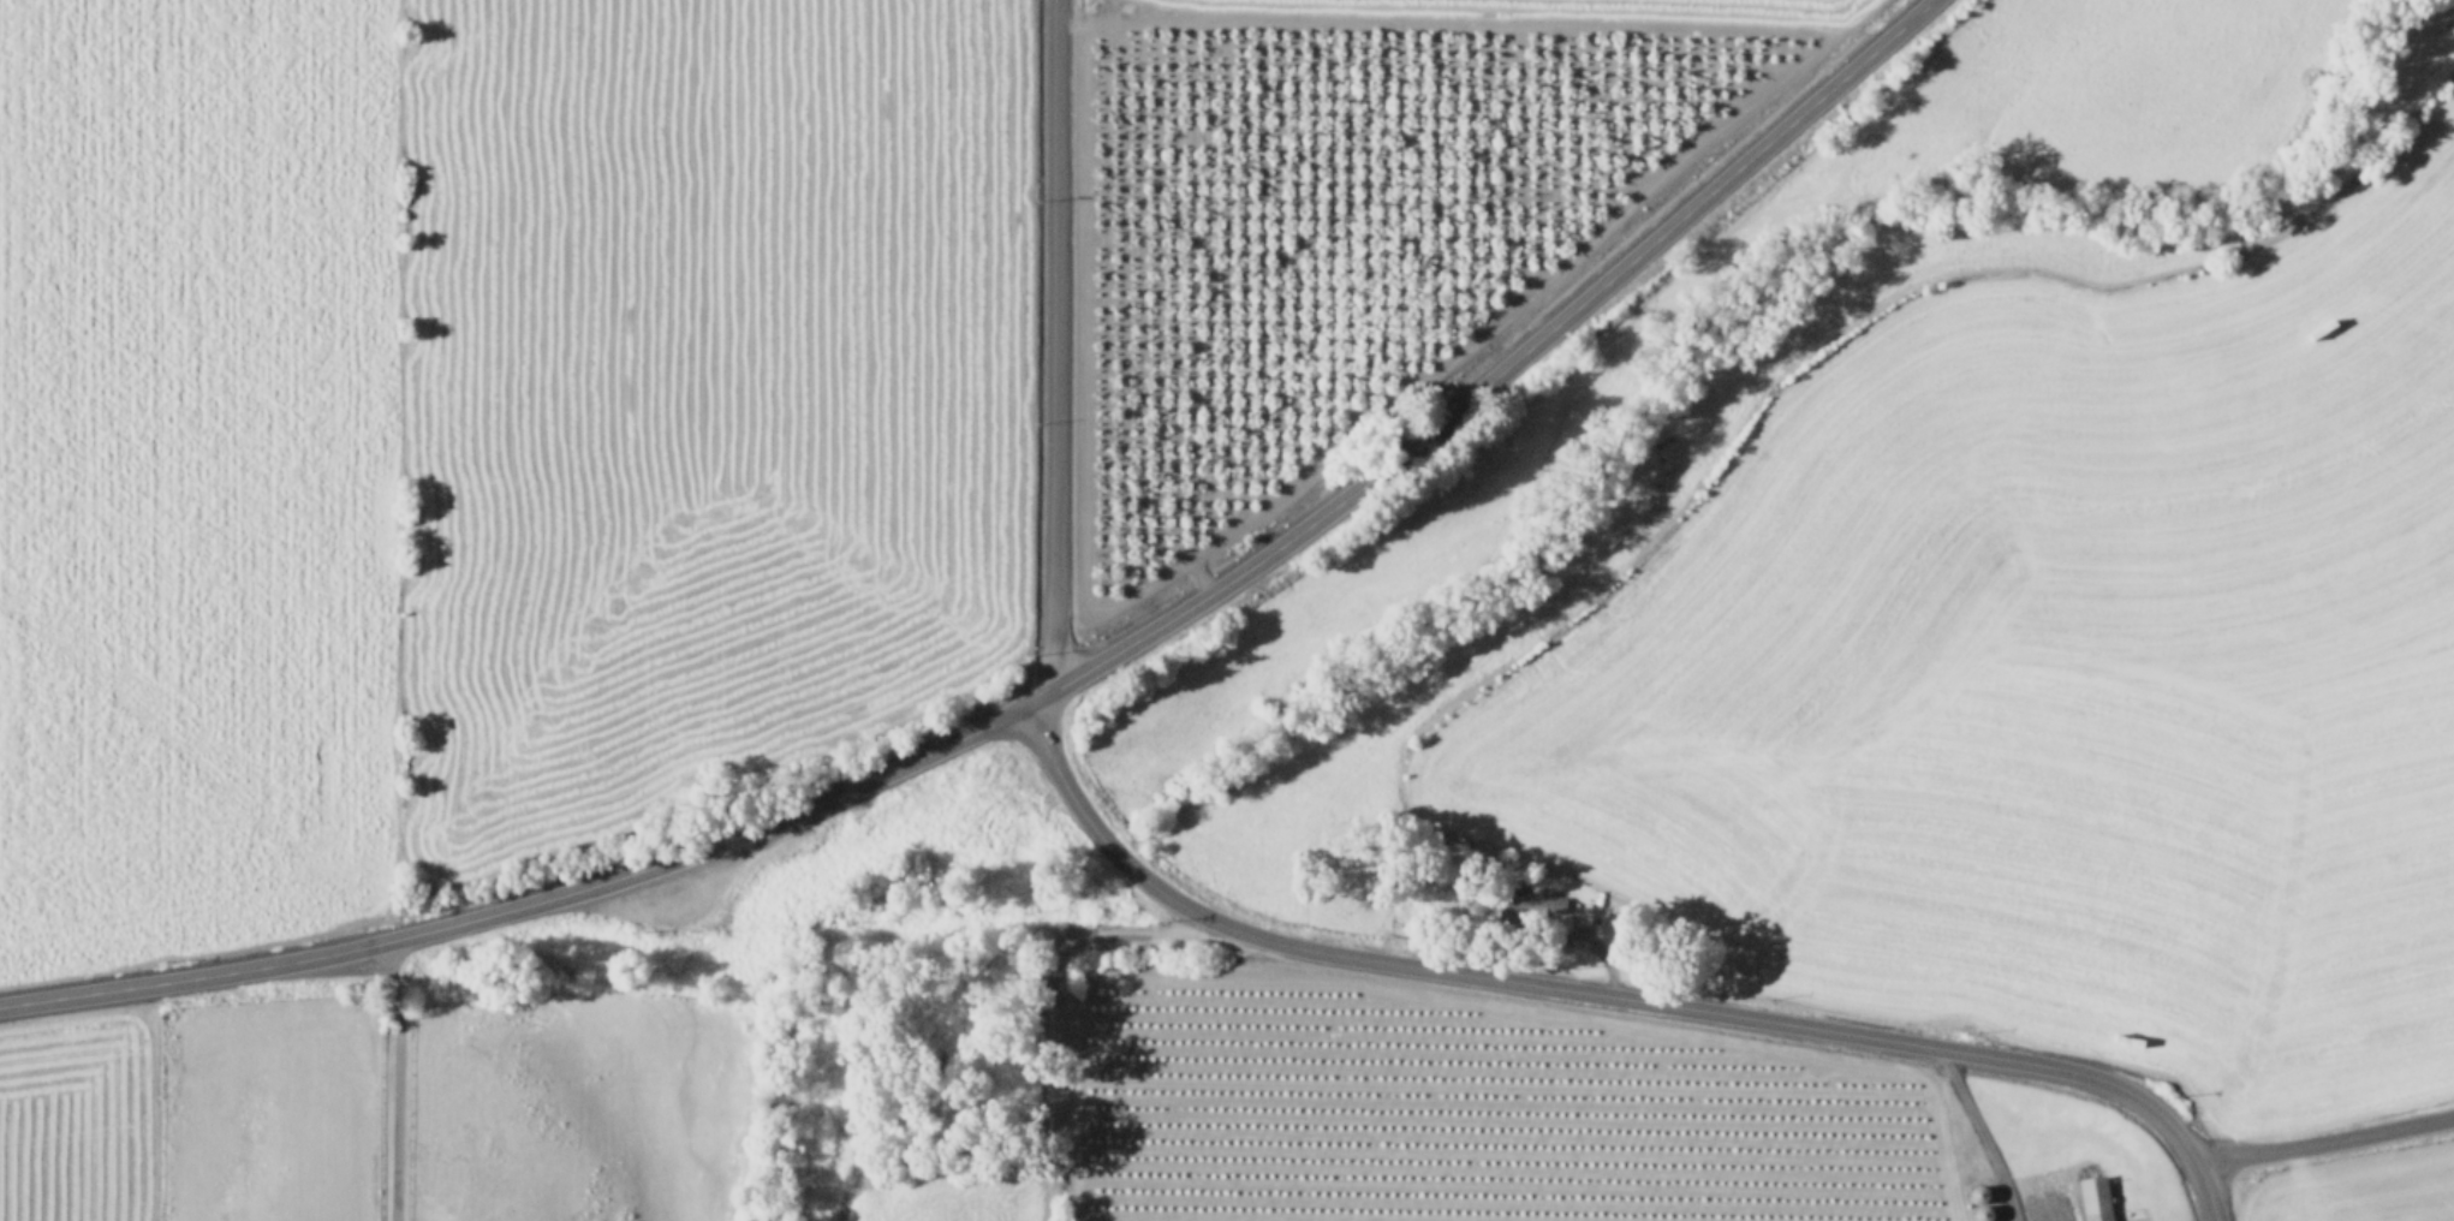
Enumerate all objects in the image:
crop: (1521, 190)
road: (1050, 343)
crop: (481, 422)
road: (1056, 685)
crop: (1887, 788)
road: (1606, 993)
road: (398, 1078)
crop: (375, 1113)
road: (1978, 1133)
road: (2324, 1139)
building: (2095, 1197)

